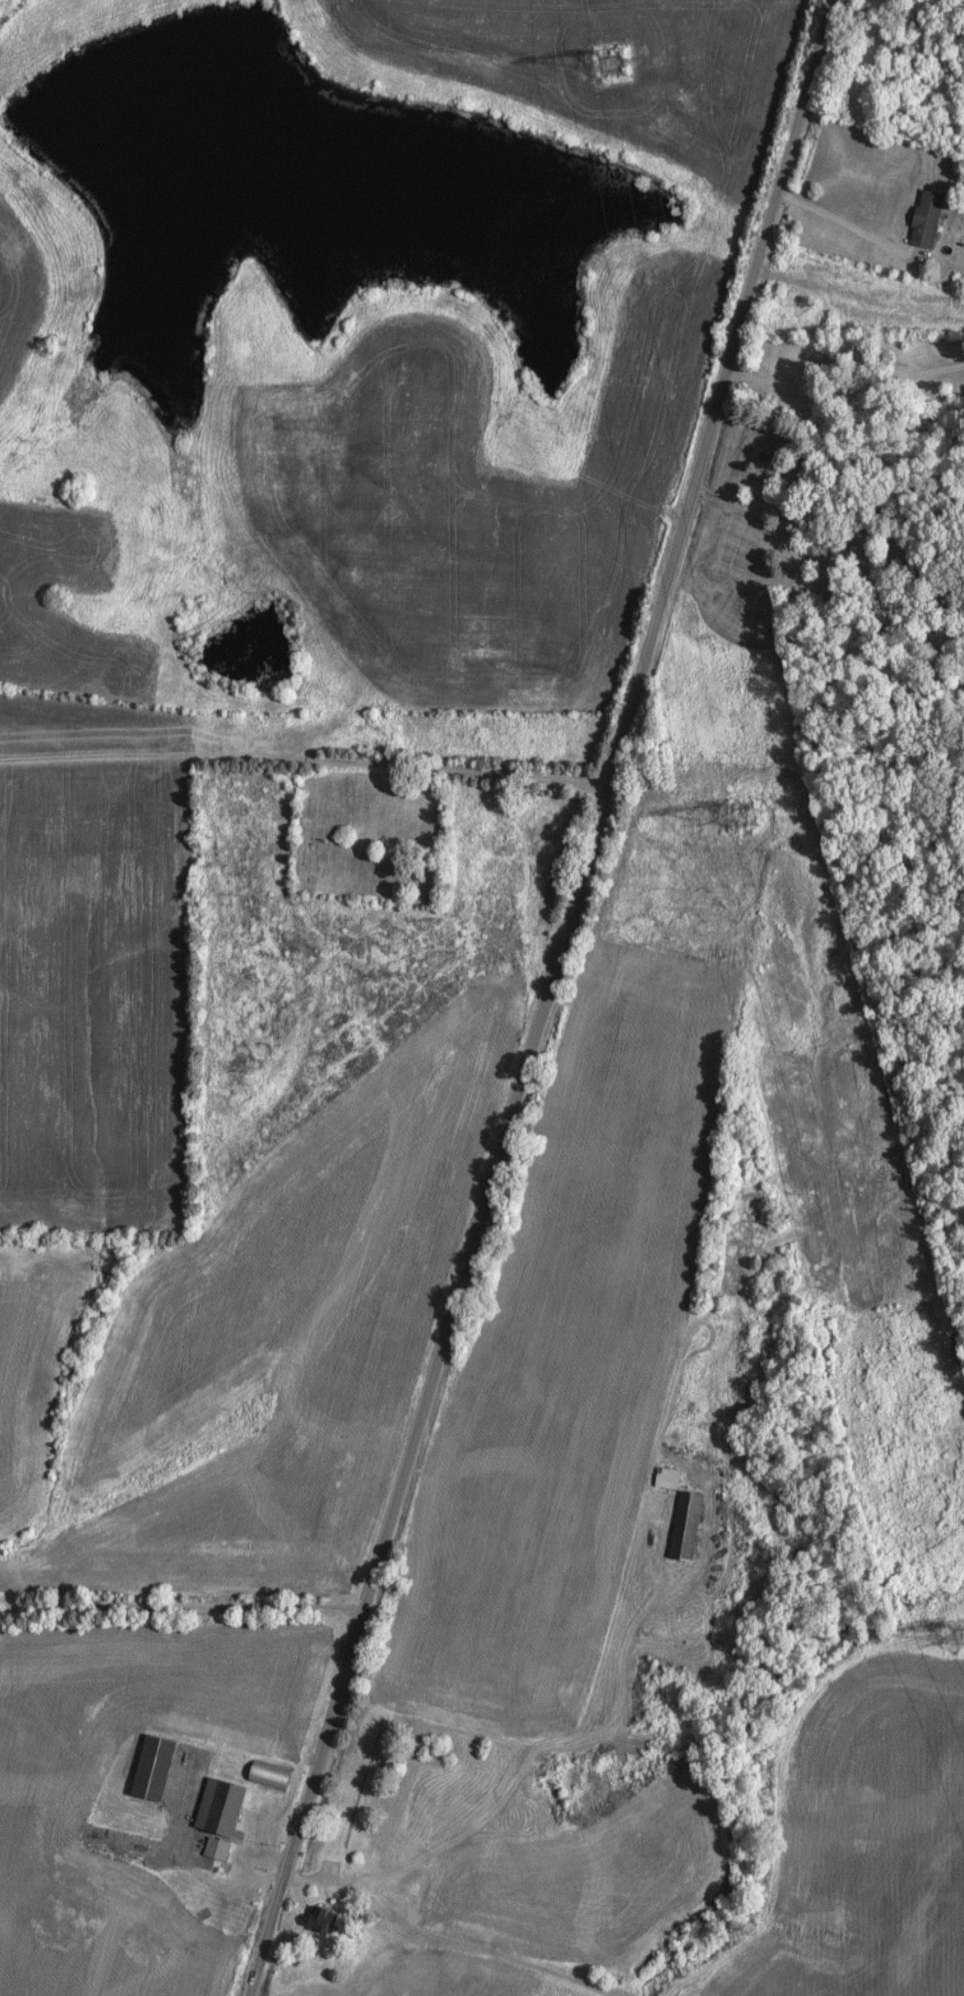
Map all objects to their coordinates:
power tower: (610, 63)
building: (923, 218)
road: (852, 221)
road: (843, 390)
road: (843, 534)
road: (304, 748)
power tower: (743, 813)
road: (547, 999)
building: (665, 1478)
building: (683, 1526)
road: (182, 1608)
power tower: (962, 1634)
building: (152, 1768)
building: (268, 1776)
road: (521, 1778)
building: (219, 1806)
building: (214, 1849)
building: (323, 1920)

